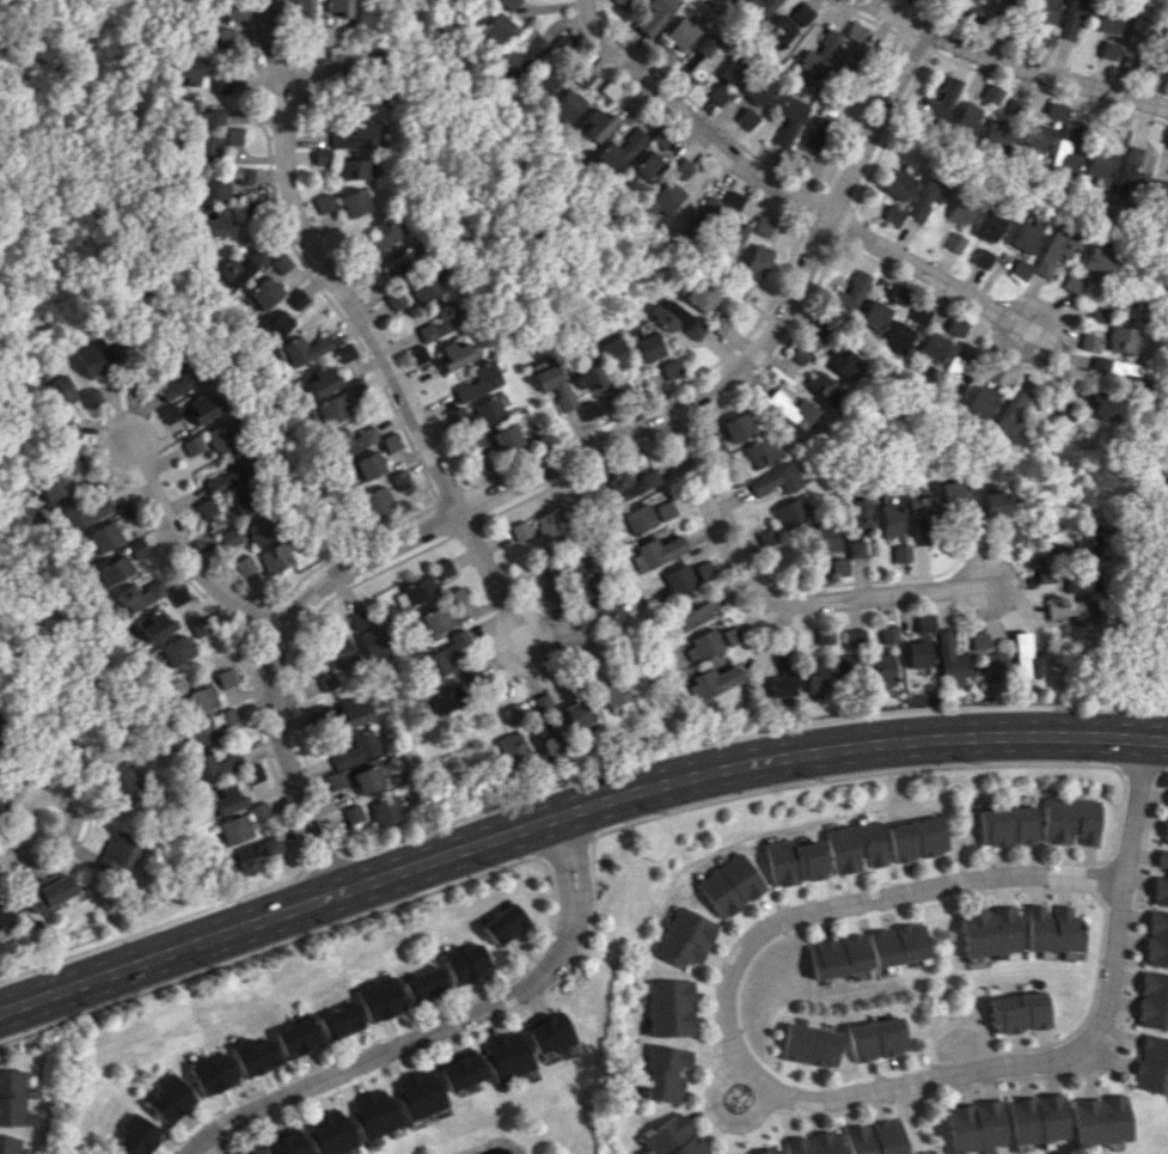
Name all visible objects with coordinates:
building: (506, 2)
building: (1008, 2)
building: (620, 4)
building: (336, 6)
building: (300, 8)
building: (757, 8)
building: (230, 10)
road: (932, 10)
building: (1038, 10)
building: (802, 13)
building: (653, 14)
street lamp: (923, 14)
building: (971, 16)
building: (1068, 17)
building: (262, 19)
building: (1105, 19)
building: (494, 28)
building: (778, 30)
building: (1133, 31)
building: (679, 32)
building: (857, 33)
road: (912, 41)
building: (1106, 49)
building: (819, 53)
building: (521, 55)
building: (664, 55)
building: (704, 56)
building: (849, 60)
road: (964, 65)
road: (1011, 65)
building: (183, 68)
street lamp: (308, 71)
building: (734, 71)
building: (582, 75)
road: (875, 79)
building: (544, 80)
building: (215, 84)
building: (759, 88)
building: (718, 93)
building: (991, 93)
building: (369, 98)
building: (941, 102)
building: (567, 105)
road: (699, 106)
building: (1053, 110)
building: (195, 114)
building: (966, 117)
building: (747, 118)
building: (790, 118)
building: (594, 123)
building: (1003, 127)
building: (819, 132)
building: (1114, 134)
building: (228, 136)
building: (1035, 139)
building: (202, 147)
building: (1064, 148)
building: (620, 149)
building: (319, 155)
building: (650, 159)
building: (1099, 165)
building: (1129, 170)
building: (221, 182)
building: (899, 184)
building: (1157, 189)
road: (784, 190)
building: (927, 196)
building: (666, 197)
building: (734, 199)
building: (322, 202)
building: (354, 202)
road: (814, 207)
building: (708, 209)
building: (959, 212)
building: (894, 215)
building: (214, 224)
building: (764, 225)
road: (845, 225)
building: (989, 225)
building: (383, 236)
building: (1025, 237)
building: (734, 238)
street lamp: (803, 239)
road: (838, 242)
building: (954, 242)
building: (1056, 249)
building: (983, 257)
building: (759, 261)
building: (1096, 261)
building: (279, 263)
building: (237, 267)
building: (1020, 268)
building: (1071, 282)
building: (424, 286)
building: (851, 291)
road: (322, 292)
building: (261, 293)
building: (898, 293)
street lamp: (330, 297)
building: (703, 297)
building: (295, 298)
building: (1131, 307)
building: (875, 313)
building: (1097, 313)
building: (683, 319)
building: (441, 322)
building: (274, 324)
building: (823, 331)
building: (898, 336)
building: (1120, 340)
building: (648, 341)
building: (1087, 341)
building: (932, 346)
building: (305, 348)
building: (459, 352)
building: (617, 354)
building: (84, 359)
building: (840, 359)
street lamp: (1034, 361)
building: (959, 365)
road: (392, 366)
building: (672, 368)
building: (589, 372)
building: (1121, 372)
building: (319, 379)
building: (175, 380)
building: (481, 381)
building: (556, 384)
building: (823, 385)
road: (1045, 386)
road: (741, 387)
road: (671, 390)
building: (55, 391)
building: (85, 398)
building: (983, 399)
building: (1102, 404)
building: (190, 407)
street lamp: (120, 409)
building: (332, 409)
building: (491, 409)
building: (794, 409)
building: (589, 410)
building: (1013, 413)
road: (671, 427)
building: (739, 427)
building: (219, 435)
building: (356, 438)
building: (508, 438)
street lamp: (640, 438)
building: (189, 445)
building: (762, 452)
building: (369, 465)
road: (554, 465)
building: (224, 474)
road: (570, 477)
building: (777, 480)
building: (402, 481)
building: (634, 483)
building: (50, 486)
street lamp: (479, 488)
road: (454, 495)
building: (956, 495)
building: (241, 500)
building: (379, 500)
building: (995, 505)
building: (204, 507)
building: (667, 509)
building: (84, 511)
building: (790, 512)
building: (921, 517)
building: (640, 519)
building: (891, 519)
building: (552, 524)
building: (857, 524)
building: (970, 524)
road: (469, 526)
road: (997, 526)
building: (258, 531)
building: (522, 531)
road: (954, 531)
building: (1009, 532)
building: (102, 536)
building: (768, 536)
building: (228, 537)
building: (825, 537)
road: (931, 537)
road: (989, 538)
road: (1054, 539)
road: (972, 543)
road: (351, 547)
building: (134, 548)
building: (1075, 548)
building: (659, 551)
road: (184, 552)
building: (901, 552)
road: (964, 554)
building: (275, 556)
road: (891, 556)
road: (1029, 558)
road: (922, 561)
building: (244, 564)
building: (839, 567)
building: (111, 569)
building: (445, 569)
road: (979, 569)
road: (986, 569)
building: (702, 572)
road: (904, 572)
building: (1042, 573)
road: (998, 576)
building: (678, 579)
building: (1078, 581)
building: (587, 585)
road: (924, 585)
road: (905, 587)
road: (1001, 587)
road: (1053, 587)
building: (416, 591)
building: (552, 591)
road: (999, 592)
road: (1034, 593)
building: (137, 594)
road: (941, 594)
building: (175, 596)
road: (770, 597)
road: (901, 598)
road: (996, 598)
road: (885, 599)
road: (989, 600)
road: (852, 603)
road: (1029, 607)
building: (1071, 611)
building: (692, 613)
building: (595, 615)
road: (886, 615)
road: (943, 615)
street lamp: (967, 615)
road: (854, 617)
road: (904, 617)
road: (1015, 618)
road: (270, 621)
building: (433, 621)
road: (1051, 622)
building: (925, 623)
building: (153, 624)
building: (197, 625)
road: (996, 630)
building: (369, 631)
road: (875, 631)
building: (888, 633)
road: (916, 633)
road: (1031, 633)
building: (732, 634)
road: (842, 634)
building: (824, 635)
building: (979, 636)
road: (263, 637)
building: (856, 637)
building: (707, 643)
street lamp: (264, 645)
road: (990, 645)
building: (434, 646)
building: (175, 649)
building: (342, 652)
building: (949, 652)
building: (918, 654)
building: (1025, 655)
building: (444, 657)
road: (292, 658)
building: (992, 666)
building: (846, 668)
building: (883, 668)
building: (471, 672)
building: (784, 672)
street lamp: (537, 673)
building: (815, 673)
building: (225, 677)
building: (326, 680)
building: (713, 680)
building: (610, 682)
building: (201, 698)
building: (446, 698)
building: (344, 712)
building: (575, 713)
building: (0, 715)
building: (209, 727)
road: (747, 733)
building: (548, 738)
building: (509, 746)
building: (356, 749)
street lamp: (1101, 761)
street lamp: (970, 762)
building: (216, 763)
road: (1019, 764)
road: (1138, 768)
street lamp: (815, 779)
building: (335, 780)
building: (367, 780)
building: (124, 783)
building: (228, 799)
building: (1167, 801)
building: (385, 810)
building: (258, 811)
road: (570, 811)
street lamp: (659, 811)
building: (355, 816)
road: (72, 818)
building: (1070, 819)
building: (1007, 825)
building: (236, 829)
building: (1164, 831)
road: (16, 836)
building: (918, 838)
road: (561, 843)
street lamp: (334, 844)
building: (857, 845)
building: (255, 854)
building: (796, 861)
road: (326, 865)
street lamp: (495, 866)
street lamp: (982, 867)
road: (1103, 879)
building: (1161, 880)
building: (733, 885)
road: (1078, 889)
building: (49, 891)
street lamp: (839, 893)
street lamp: (1099, 893)
road: (1133, 894)
road: (856, 902)
building: (4, 912)
building: (503, 923)
building: (1052, 929)
building: (989, 932)
building: (686, 936)
building: (1156, 940)
building: (898, 944)
building: (838, 957)
building: (465, 963)
street lamp: (718, 981)
building: (426, 984)
building: (381, 997)
building: (1151, 1001)
building: (671, 1007)
building: (1017, 1012)
building: (342, 1021)
road: (440, 1027)
building: (546, 1033)
building: (299, 1038)
building: (879, 1038)
building: (814, 1044)
road: (1070, 1048)
road: (753, 1050)
building: (504, 1055)
road: (1091, 1055)
building: (256, 1056)
road: (967, 1056)
road: (1097, 1063)
street lamp: (937, 1064)
building: (1149, 1064)
street lamp: (1107, 1069)
building: (459, 1070)
building: (214, 1073)
building: (666, 1073)
road: (748, 1080)
road: (718, 1088)
street lamp: (746, 1088)
building: (418, 1094)
road: (917, 1095)
building: (13, 1099)
building: (173, 1099)
street lamp: (836, 1110)
building: (373, 1113)
road: (753, 1113)
building: (1033, 1118)
building: (1096, 1119)
building: (972, 1126)
building: (667, 1134)
building: (140, 1135)
building: (875, 1138)
building: (824, 1142)
building: (8, 1144)
building: (285, 1144)
building: (796, 1144)
building: (689, 1147)
building: (246, 1152)
building: (765, 1152)
building: (740, 1153)

